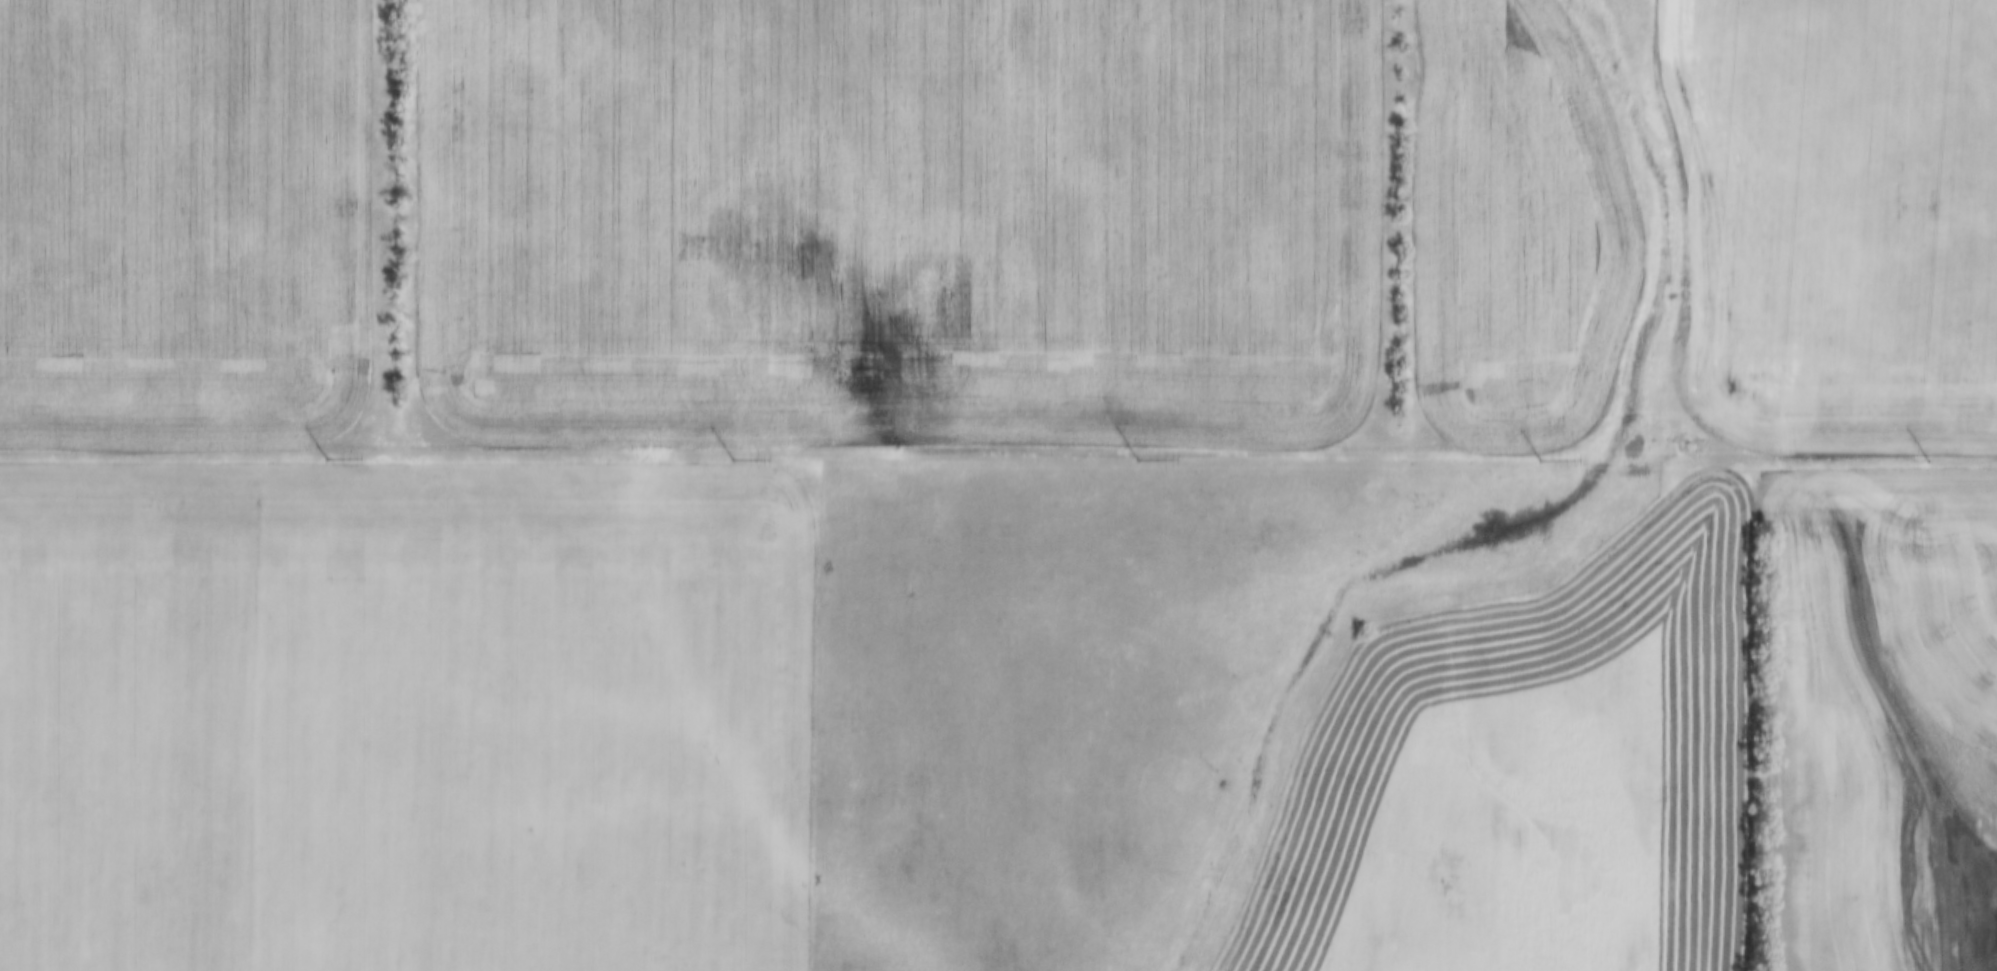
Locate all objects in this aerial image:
building: (437, 773)
building: (393, 958)

